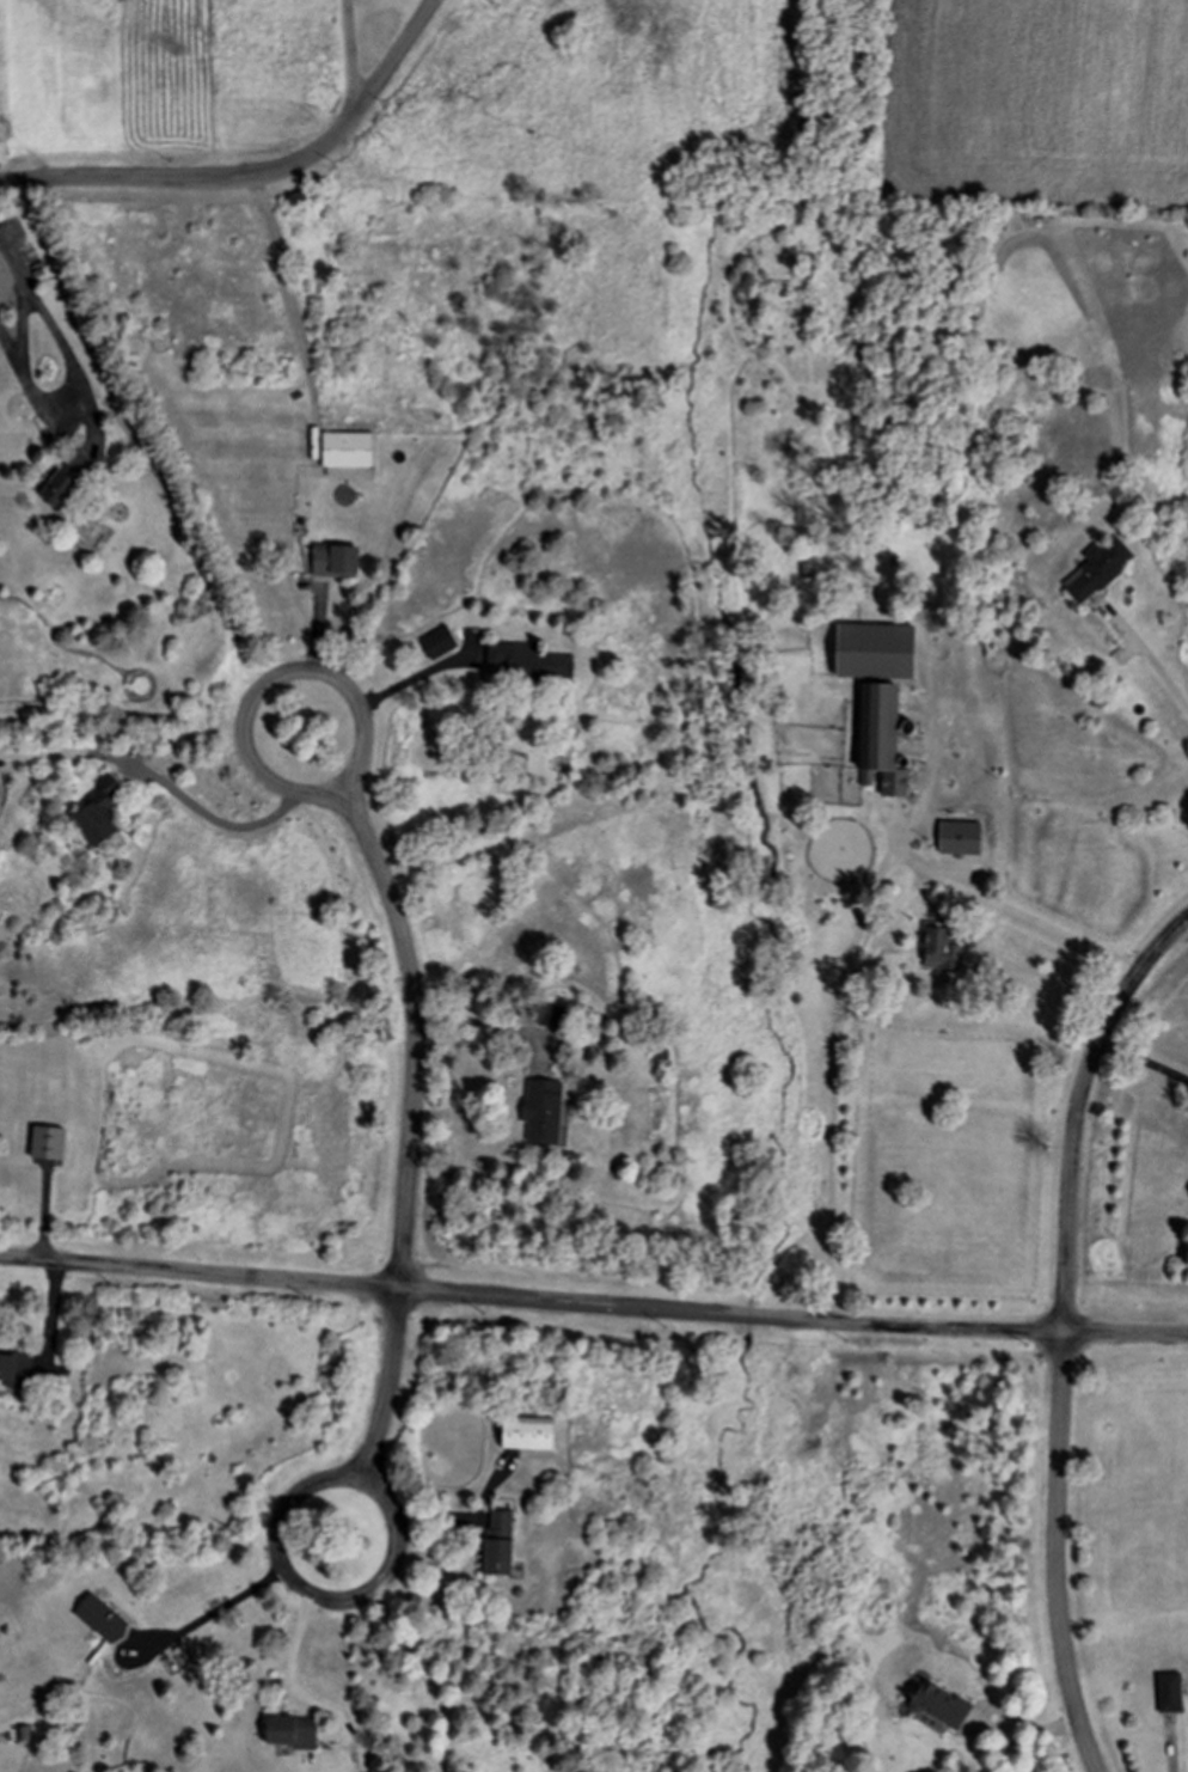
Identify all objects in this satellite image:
road: (355, 54)
road: (257, 178)
building: (4, 288)
road: (289, 293)
road: (51, 326)
building: (349, 450)
building: (73, 478)
building: (338, 561)
building: (1097, 569)
building: (872, 652)
road: (1143, 655)
building: (527, 660)
road: (425, 685)
road: (357, 698)
building: (880, 738)
road: (177, 799)
building: (105, 812)
building: (959, 838)
road: (1015, 912)
building: (939, 949)
road: (845, 991)
road: (497, 1027)
road: (416, 1039)
road: (1145, 1059)
building: (538, 1111)
road: (1078, 1111)
road: (593, 1307)
building: (18, 1370)
building: (523, 1434)
road: (371, 1461)
building: (500, 1524)
road: (1055, 1556)
building: (495, 1558)
road: (385, 1571)
road: (214, 1612)
building: (105, 1619)
road: (425, 1668)
building: (941, 1704)
building: (290, 1731)

